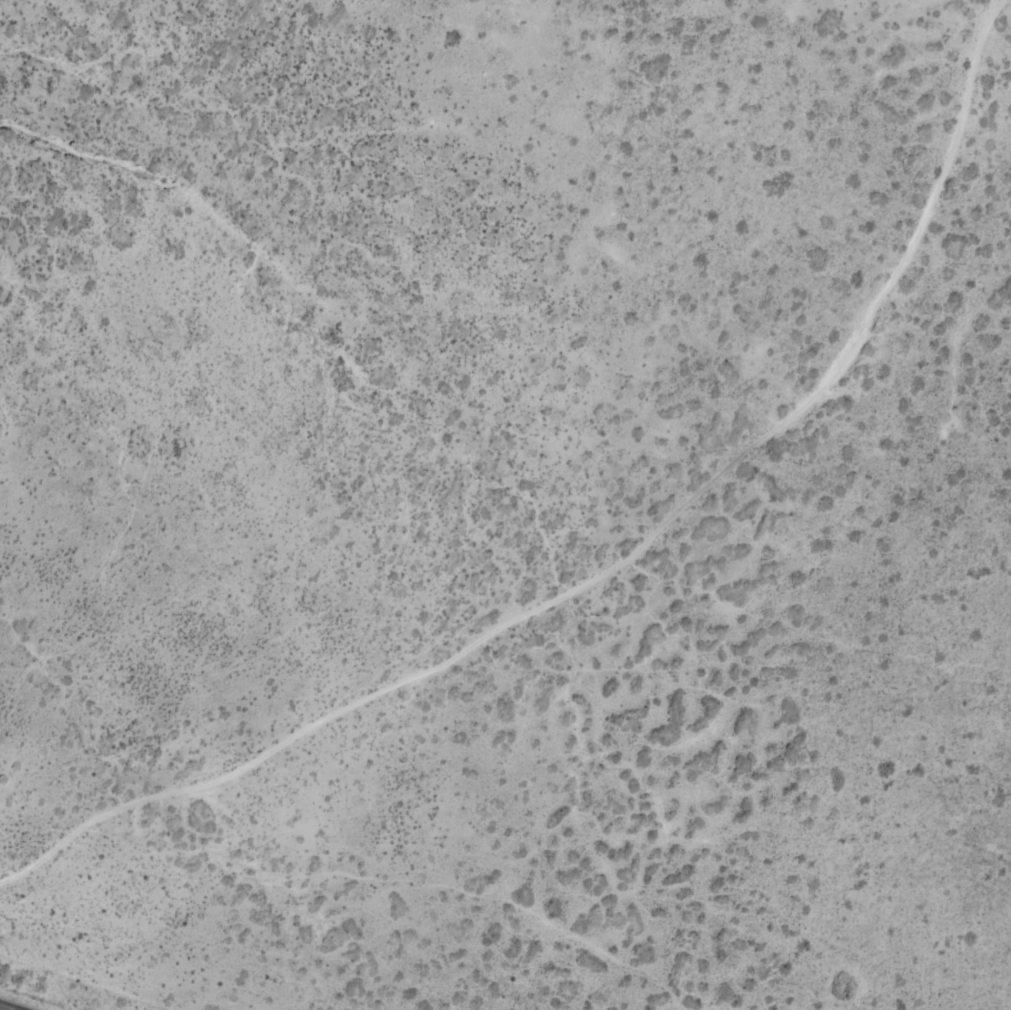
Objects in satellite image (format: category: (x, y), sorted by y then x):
road: (565, 548)
road: (11, 1006)

